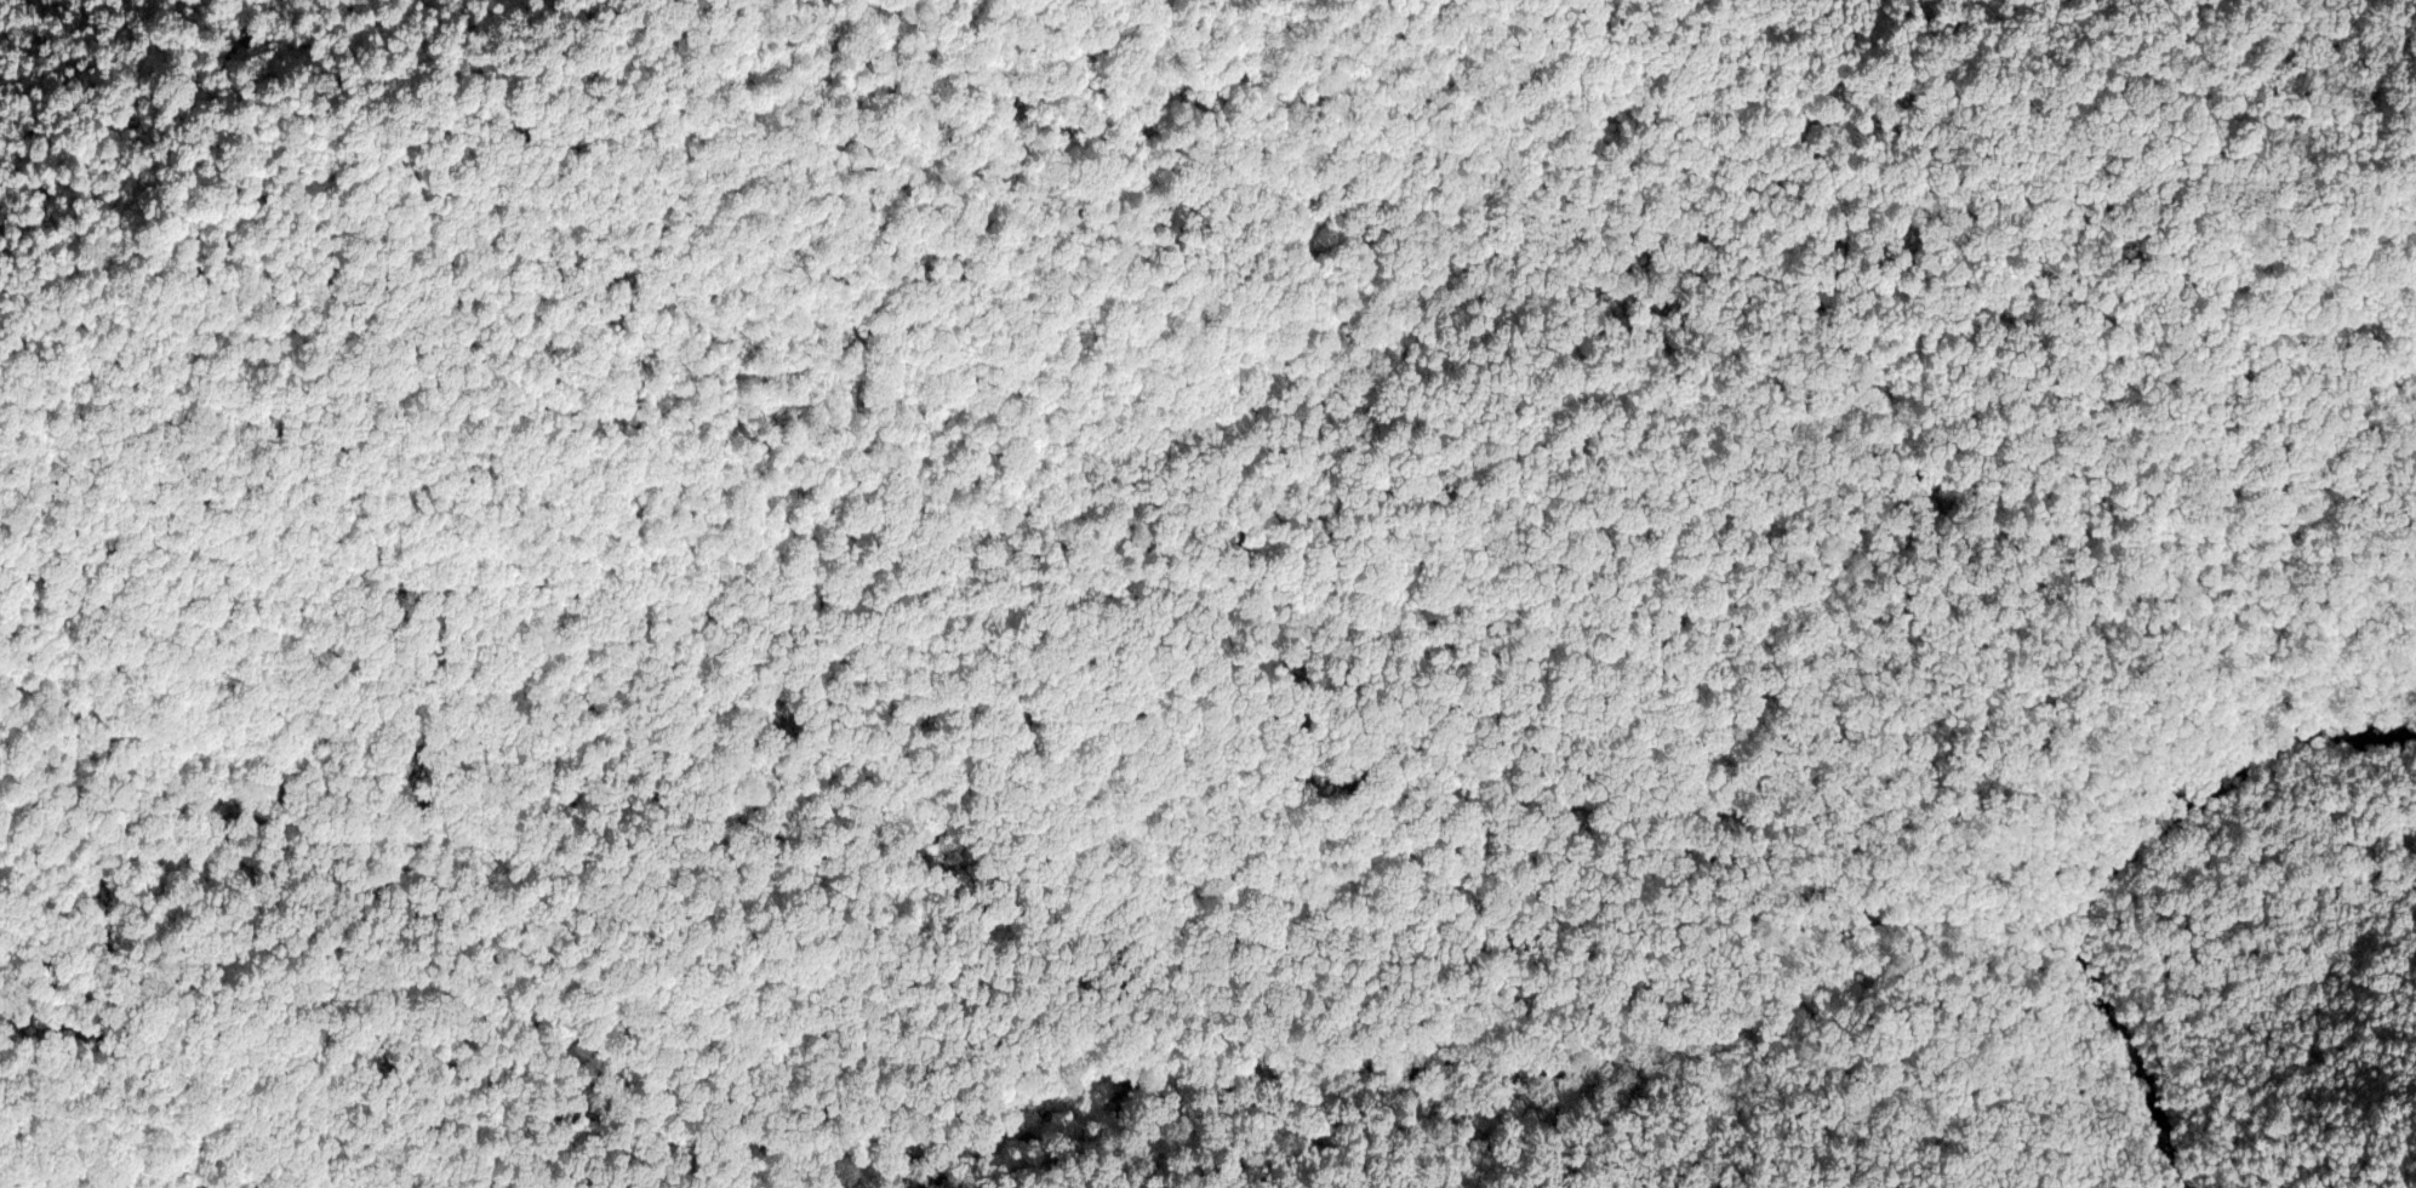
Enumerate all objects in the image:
river: (2206, 796)
road: (2152, 906)
river: (2153, 1085)

